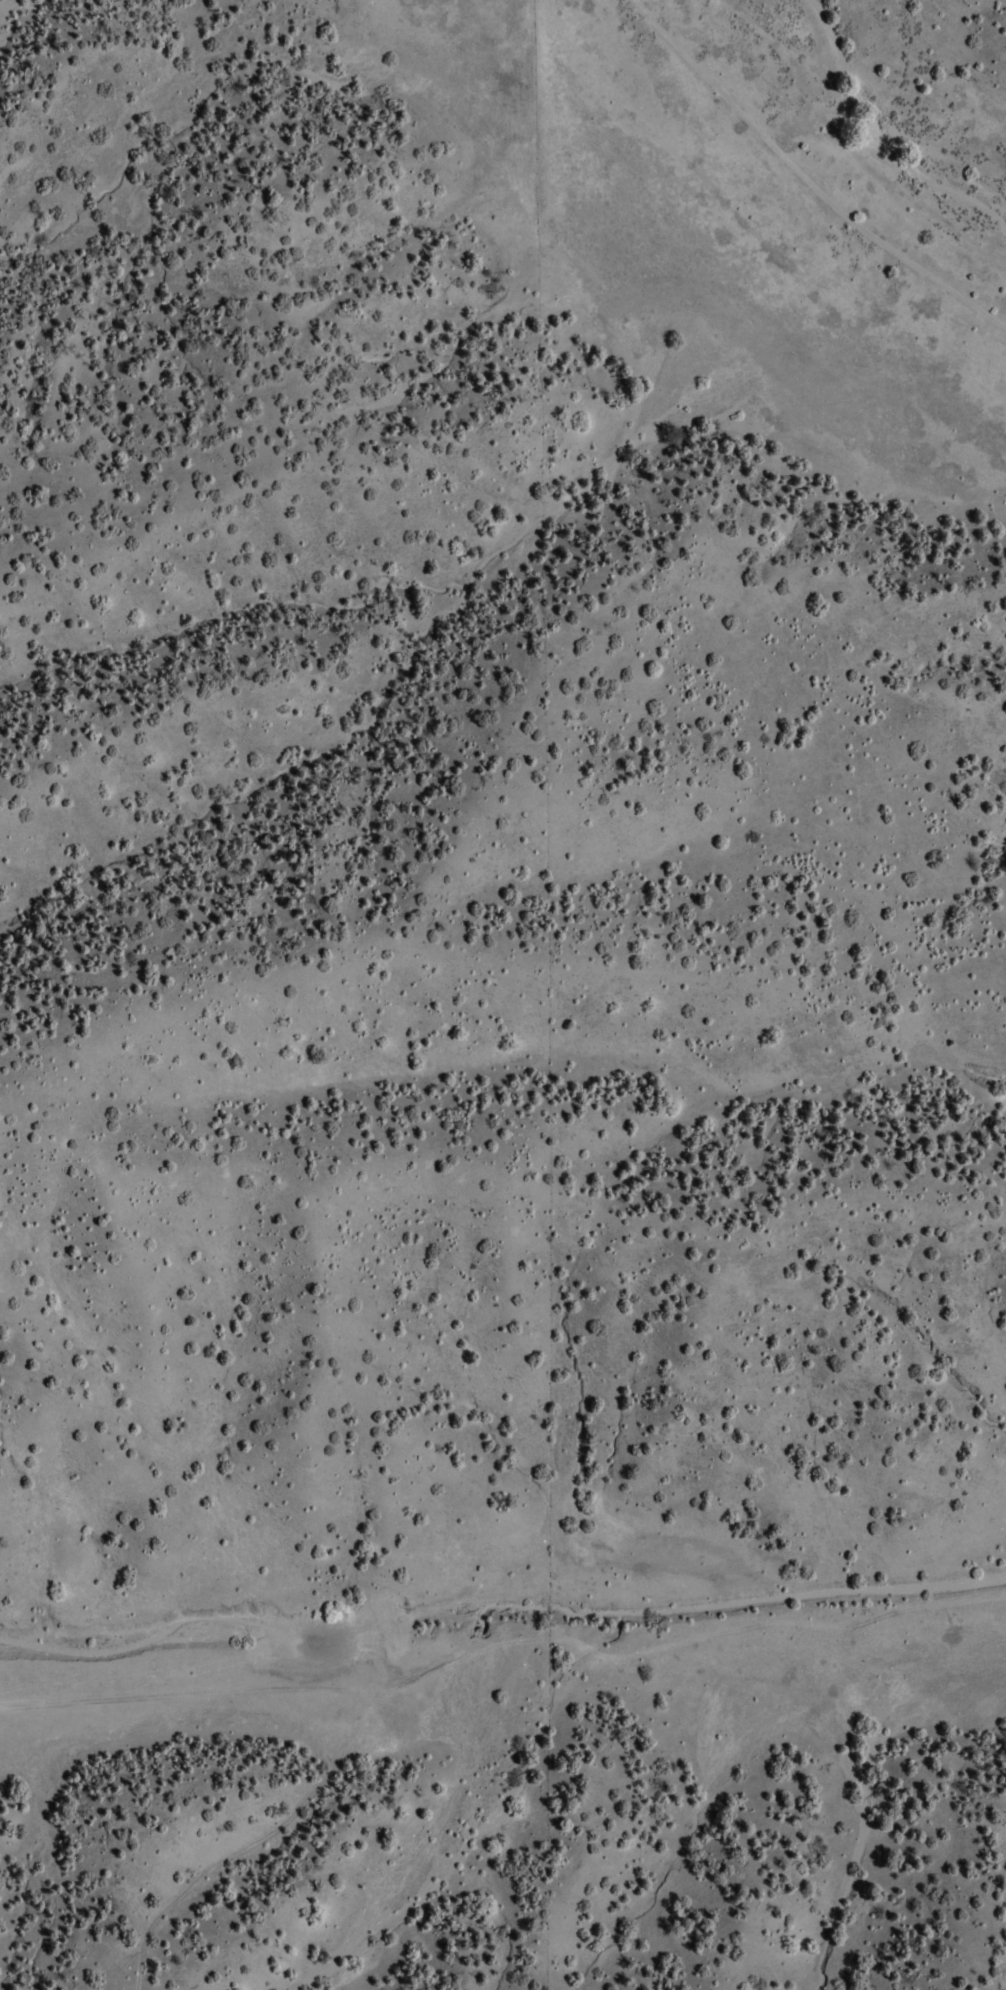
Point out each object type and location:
road: (805, 180)
dam: (389, 1630)
road: (511, 1644)
road: (254, 1839)

